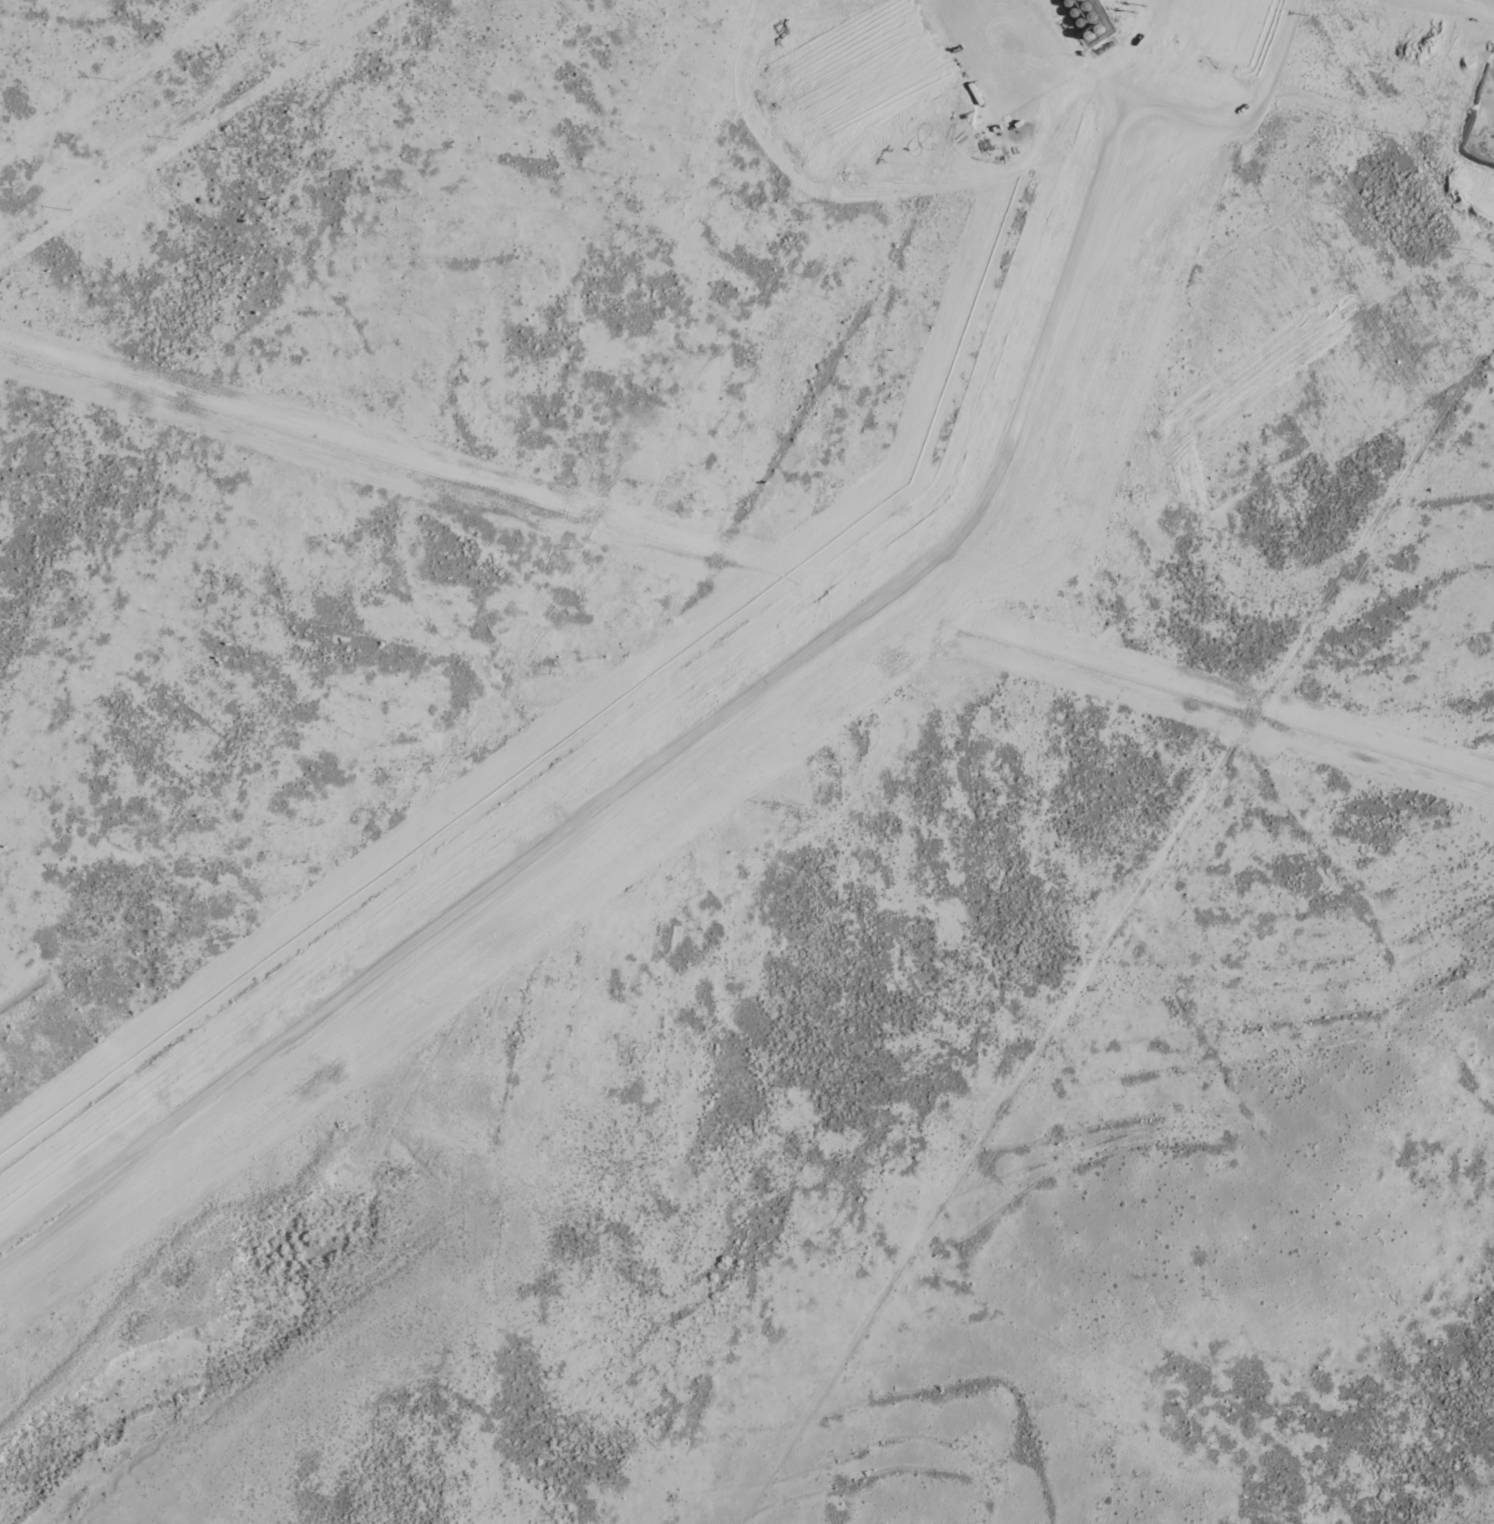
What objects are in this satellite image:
road: (896, 582)

